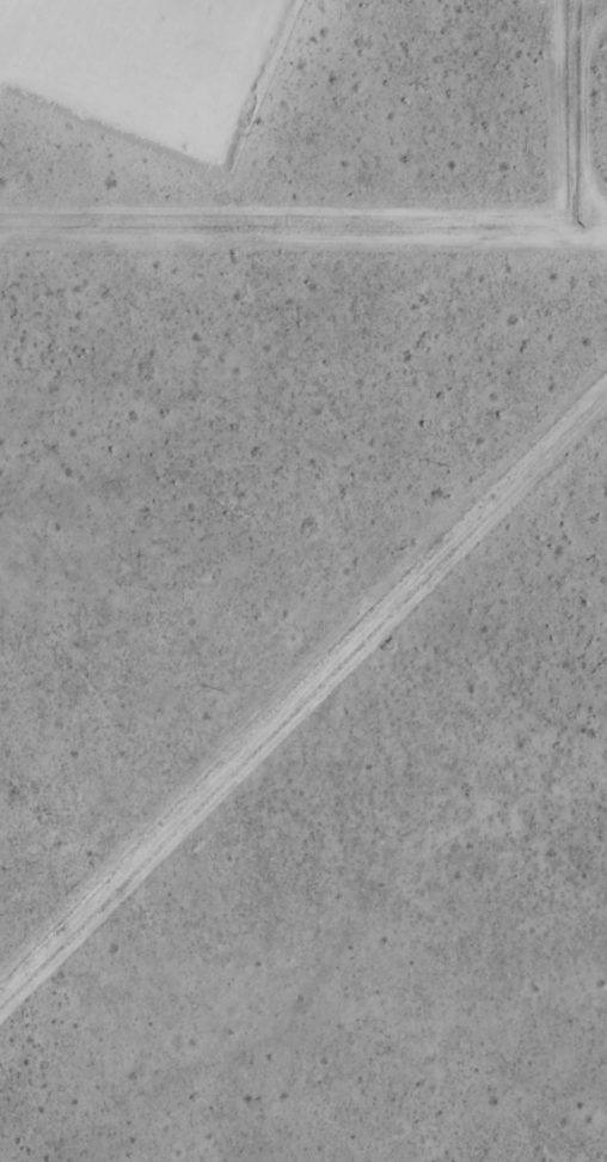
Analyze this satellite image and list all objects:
road: (70, 38)
road: (24, 77)

